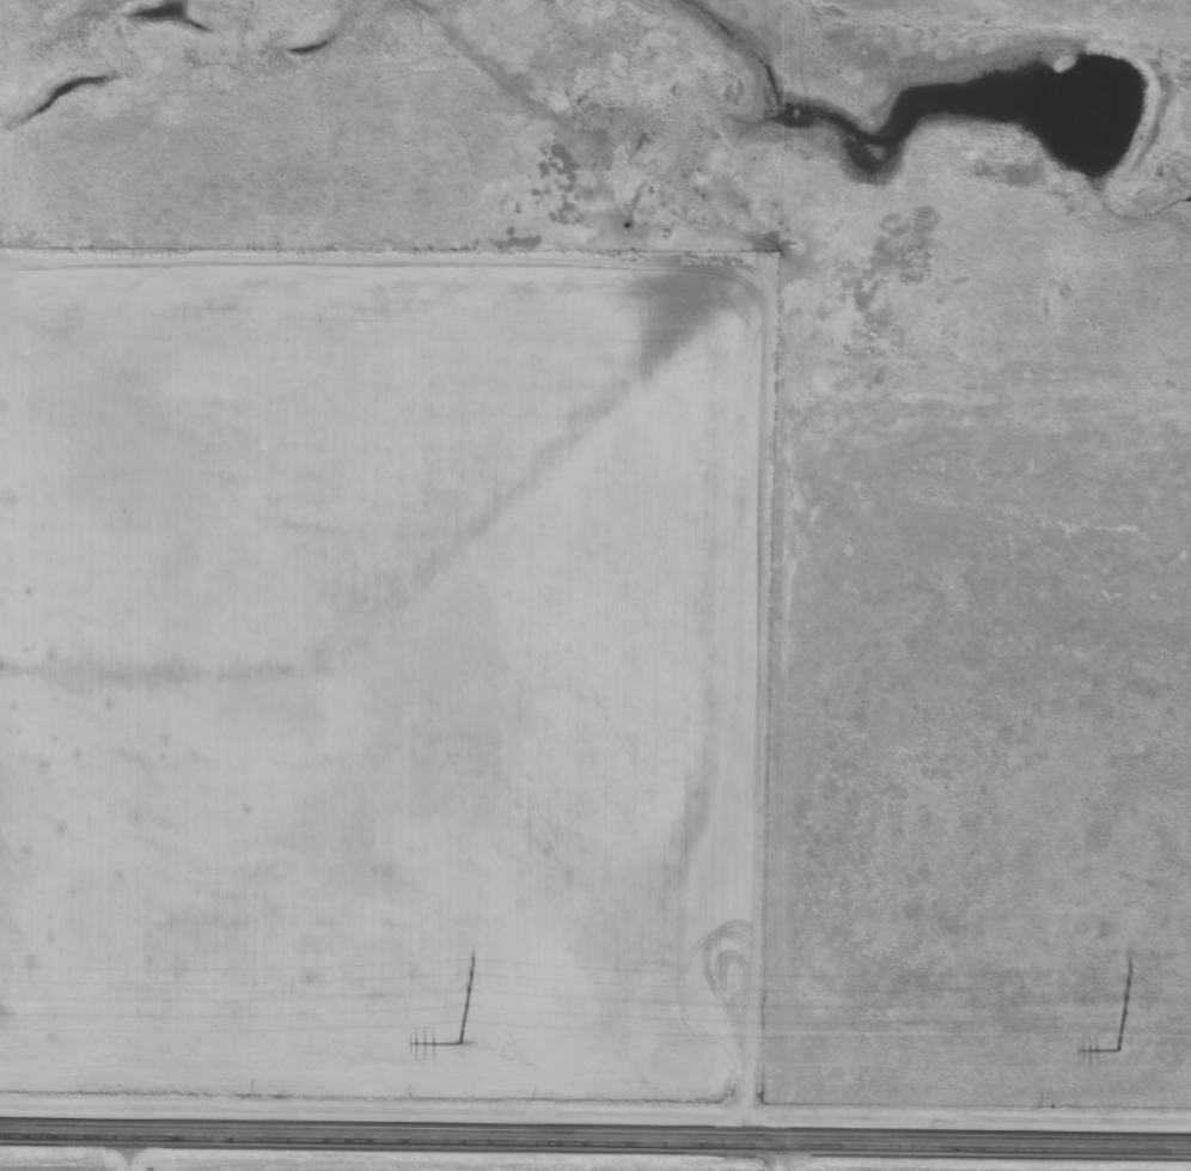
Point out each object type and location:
power tower: (459, 1044)
power tower: (1117, 1050)
road: (595, 1141)
road: (782, 1157)

